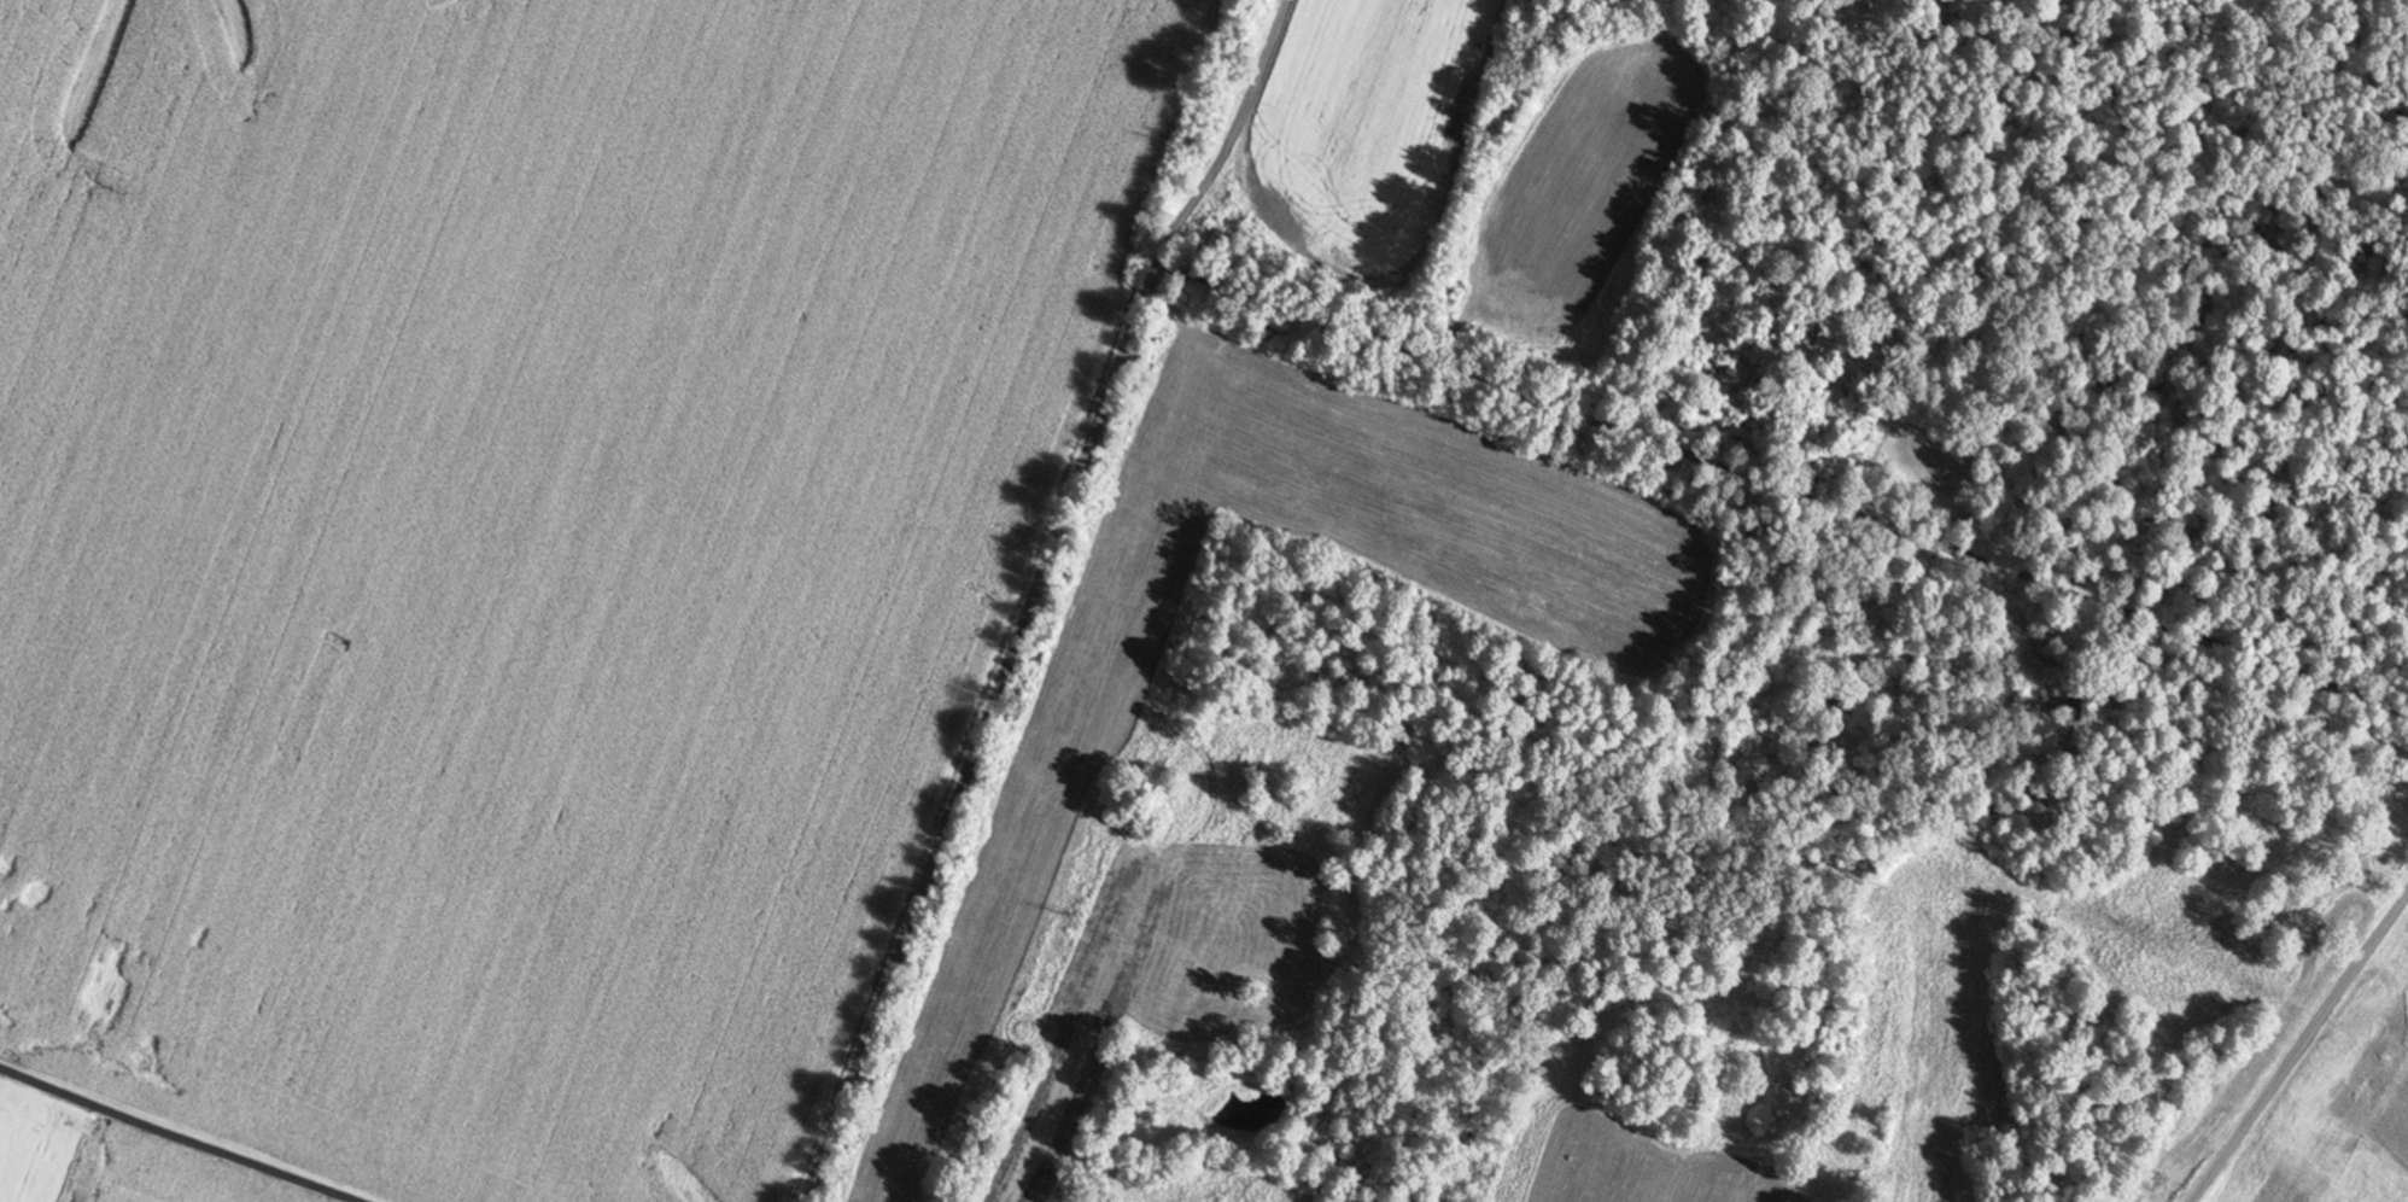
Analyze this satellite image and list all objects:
road: (2299, 1049)

